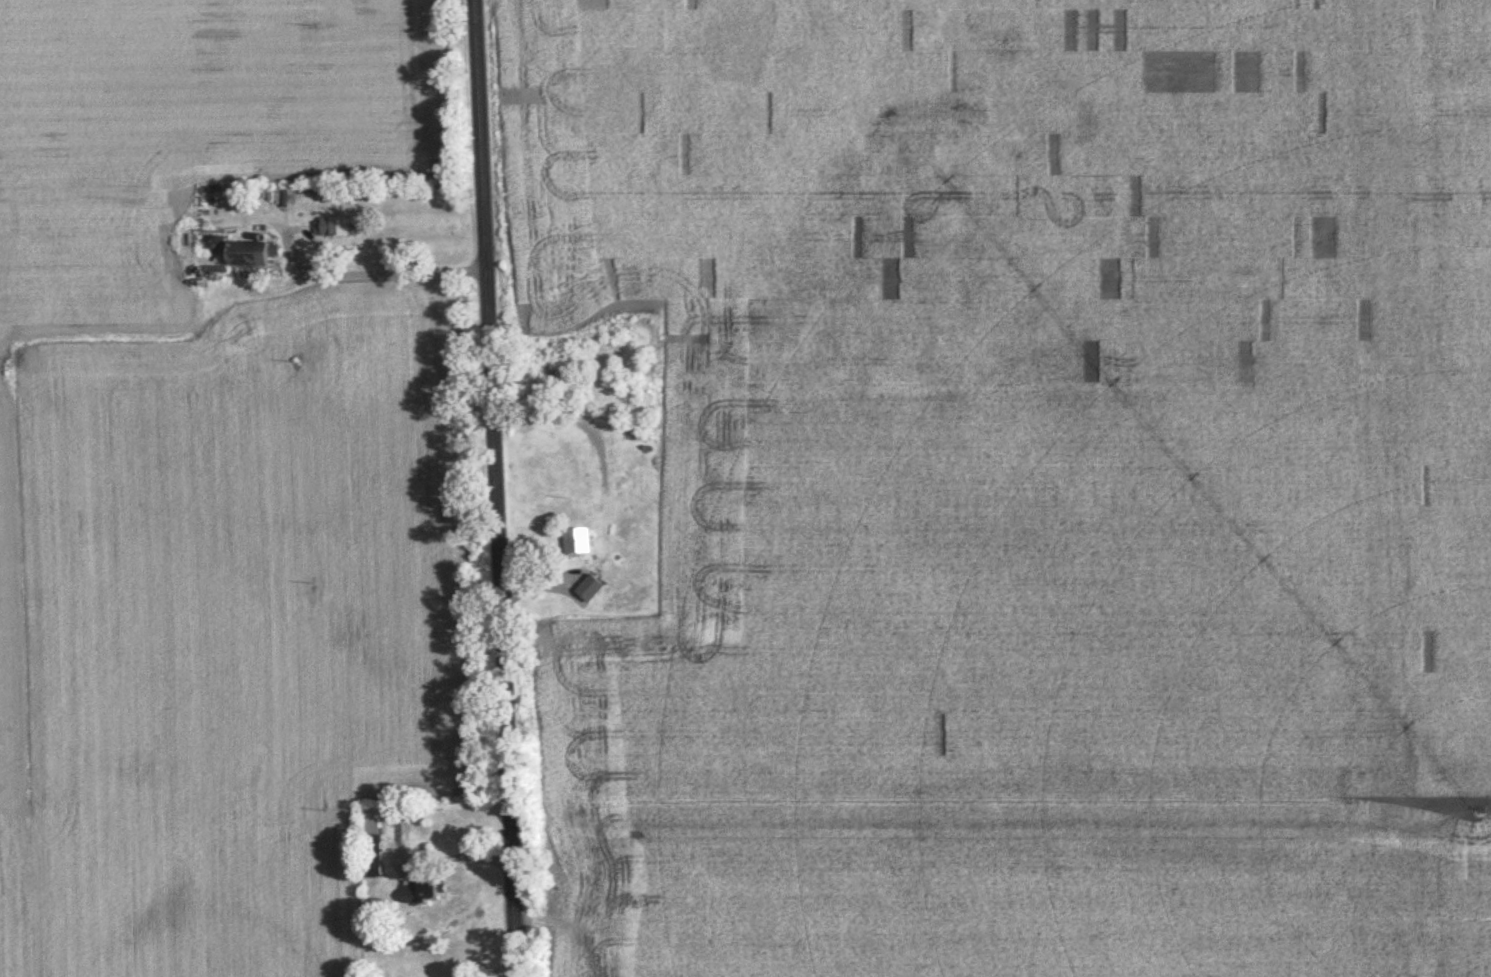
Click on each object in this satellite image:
building: (331, 229)
building: (231, 255)
road: (374, 269)
building: (610, 418)
road: (498, 488)
building: (577, 543)
building: (370, 849)
building: (422, 895)

